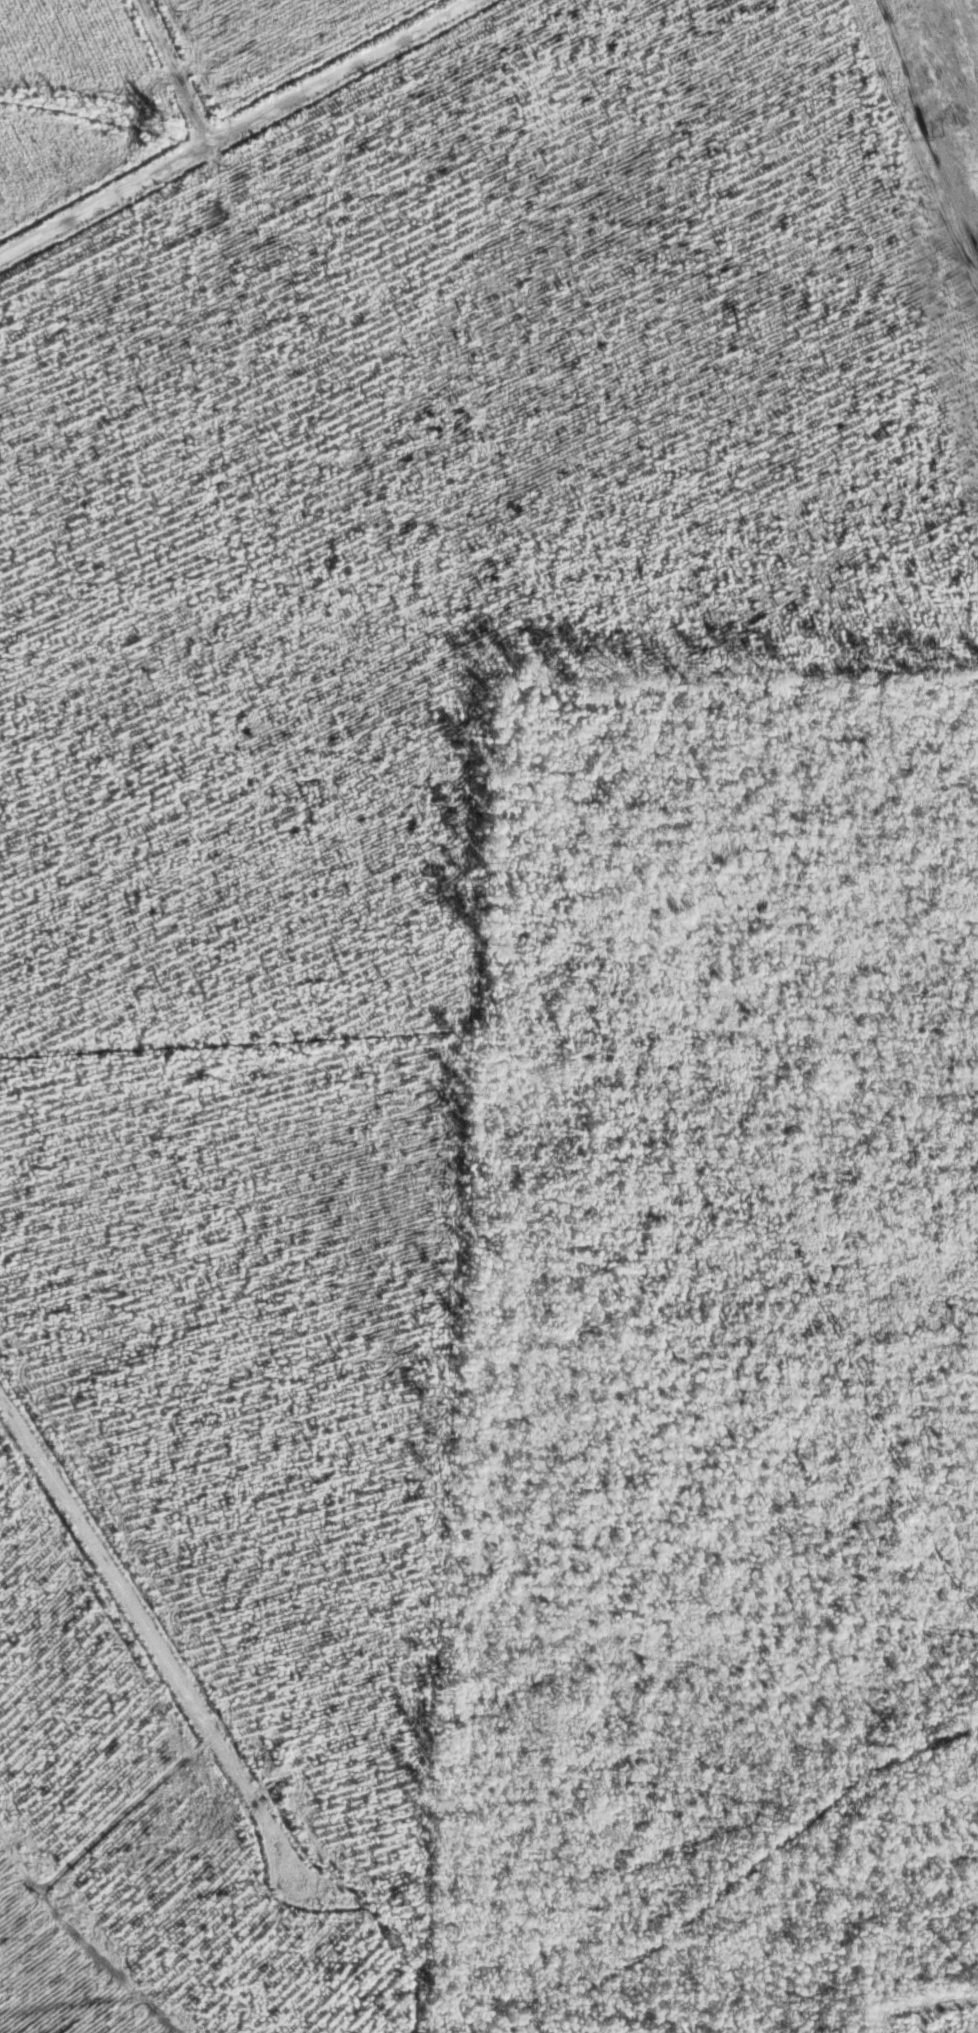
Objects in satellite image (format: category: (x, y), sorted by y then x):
road: (339, 72)
power tower: (934, 134)
road: (170, 170)
road: (111, 1544)

